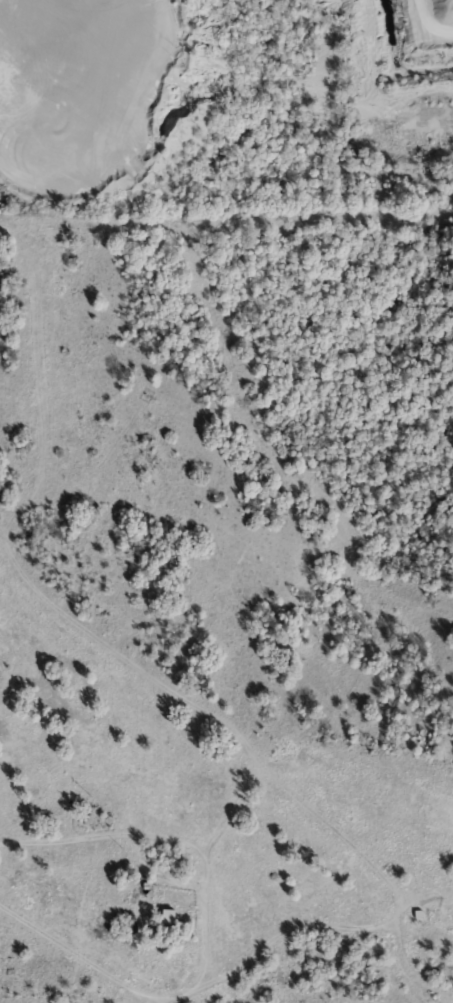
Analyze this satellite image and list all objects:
quarry: (385, 73)
quarry: (103, 95)
road: (201, 928)

